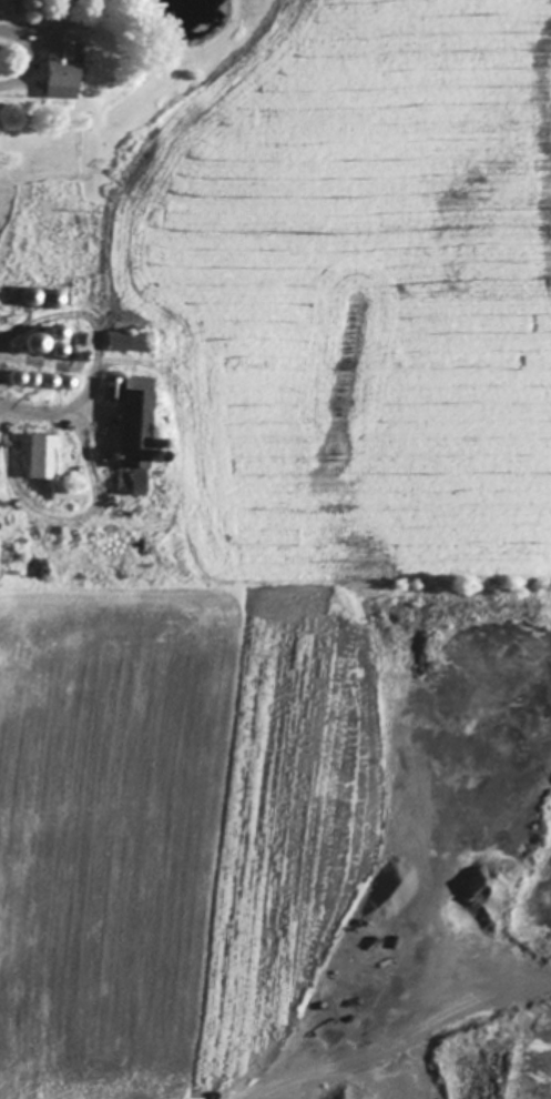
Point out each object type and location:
building: (63, 64)
building: (44, 299)
building: (132, 343)
building: (47, 346)
building: (114, 390)
building: (135, 436)
building: (42, 457)
building: (70, 493)
quarry: (435, 863)
road: (442, 1029)

